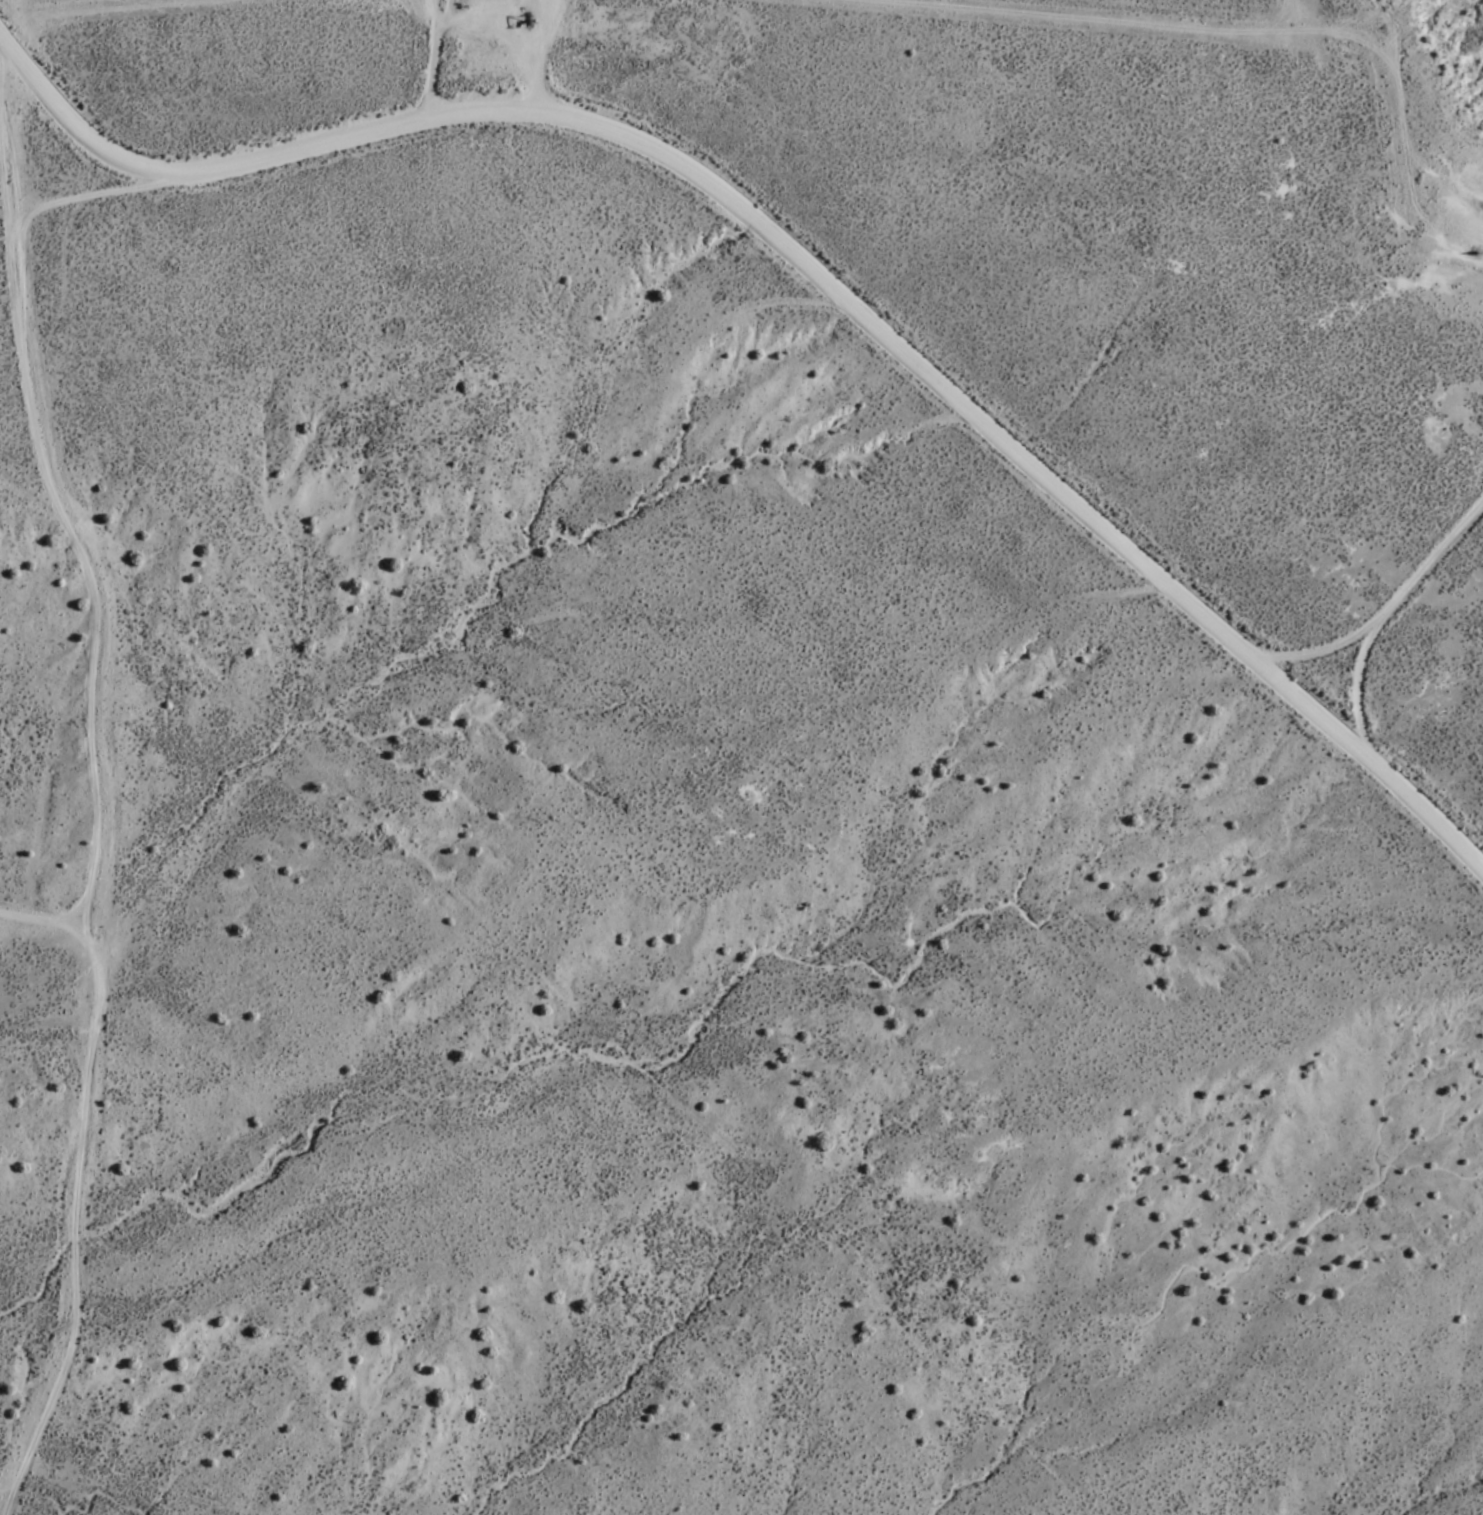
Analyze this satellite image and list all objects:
road: (808, 265)
road: (125, 778)

